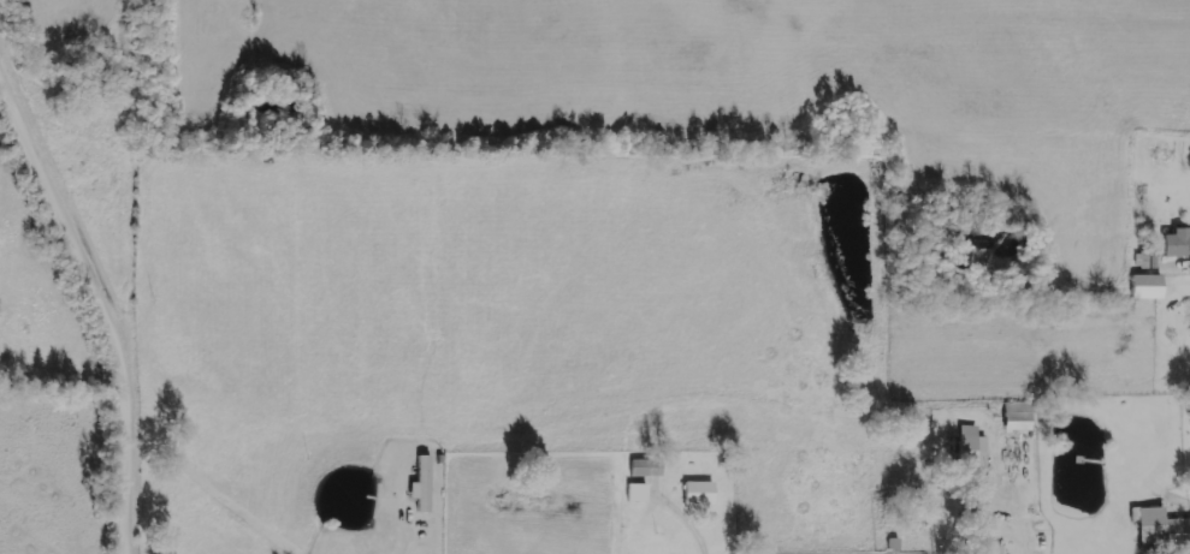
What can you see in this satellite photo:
building: (1177, 243)
building: (1147, 258)
road: (1061, 276)
building: (1147, 286)
road: (107, 294)
building: (1018, 416)
building: (972, 447)
building: (645, 467)
building: (422, 484)
building: (638, 493)
building: (699, 494)
building: (1162, 530)
building: (997, 549)

